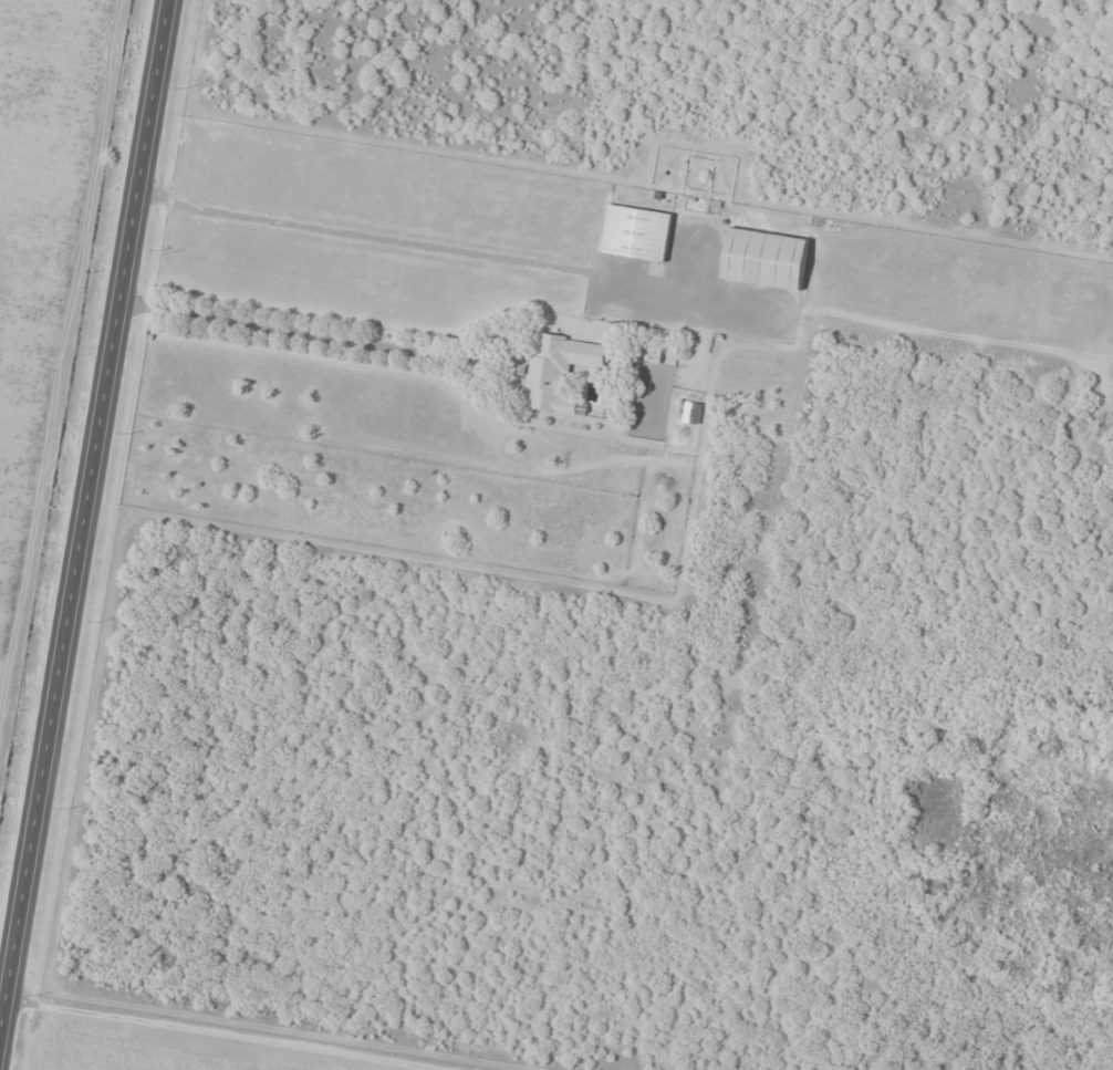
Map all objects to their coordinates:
building: (635, 233)
building: (764, 259)
building: (560, 371)
road: (83, 510)
wastewater plant: (938, 806)
road: (240, 1031)

